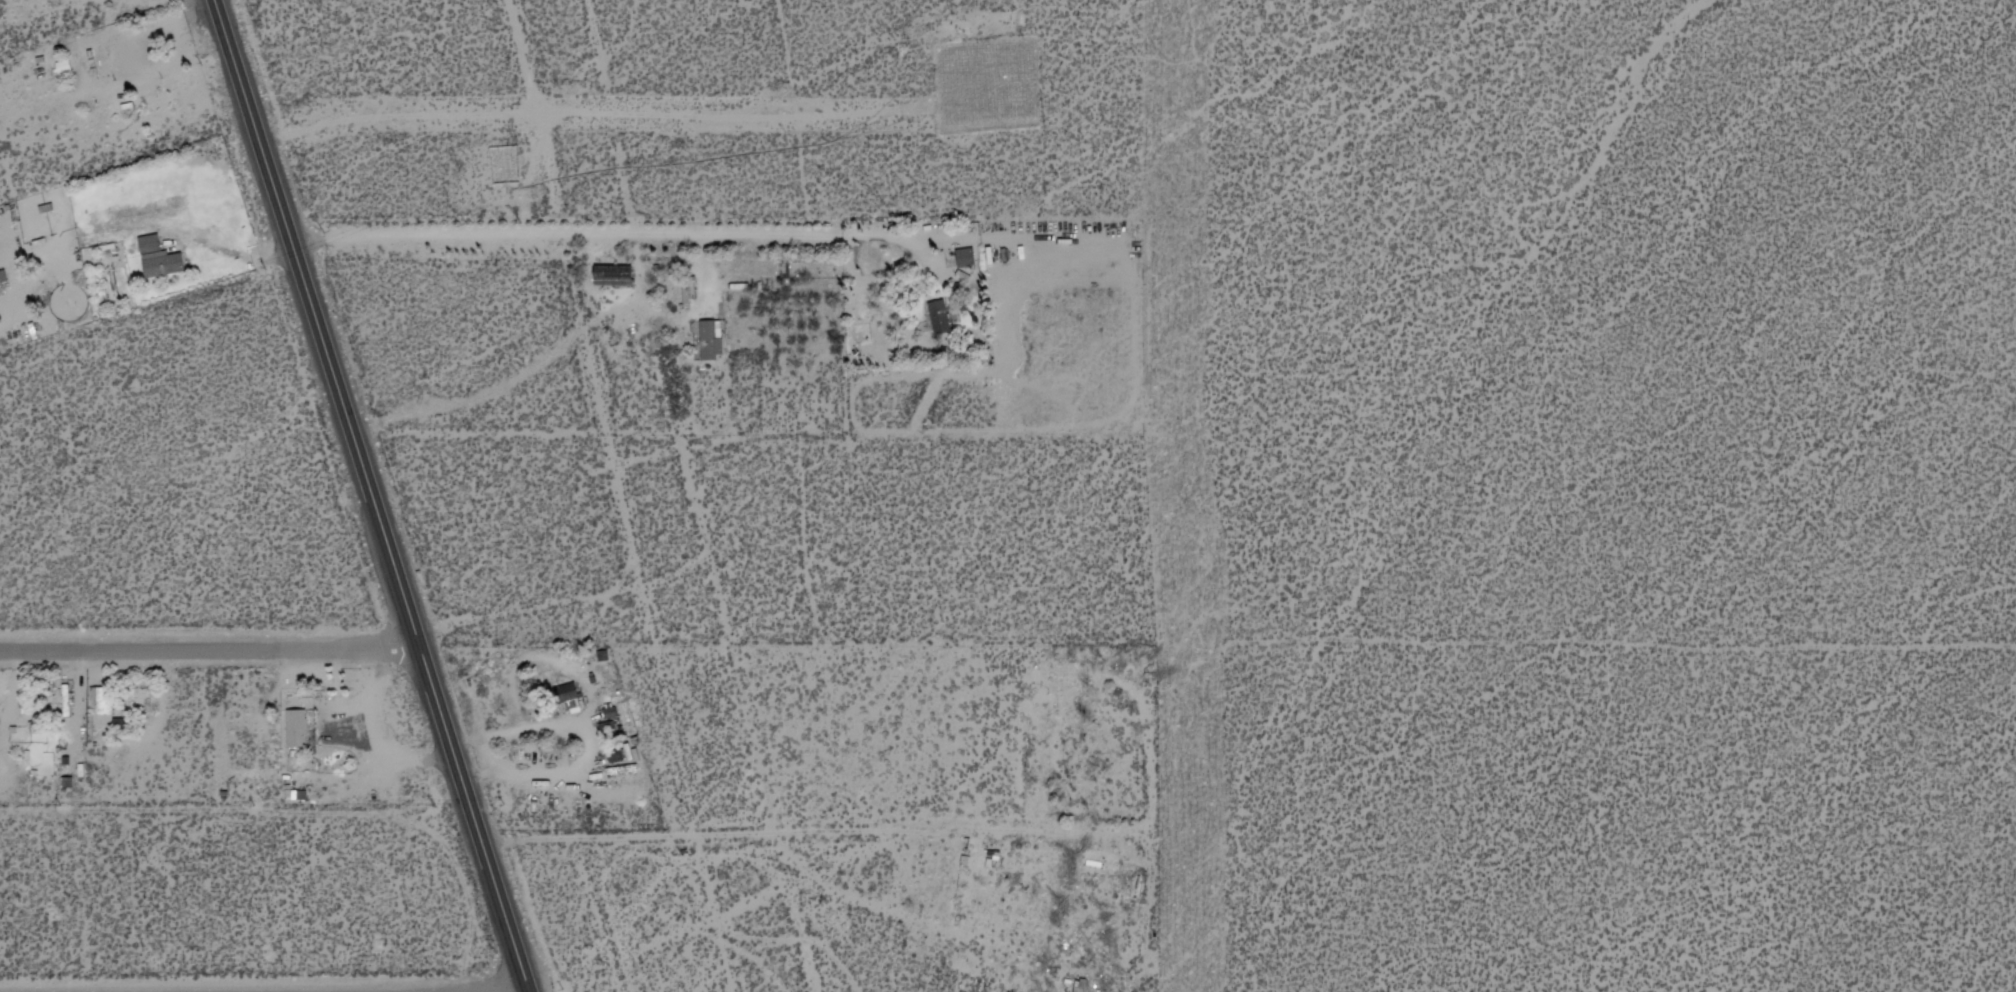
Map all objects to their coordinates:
building: (126, 57)
road: (575, 118)
road: (650, 239)
building: (149, 245)
building: (966, 257)
building: (163, 268)
building: (613, 278)
building: (689, 291)
building: (941, 318)
road: (319, 328)
building: (707, 346)
road: (211, 656)
building: (569, 697)
building: (104, 703)
building: (1113, 713)
building: (123, 725)
building: (297, 731)
road: (473, 824)
building: (1087, 956)

